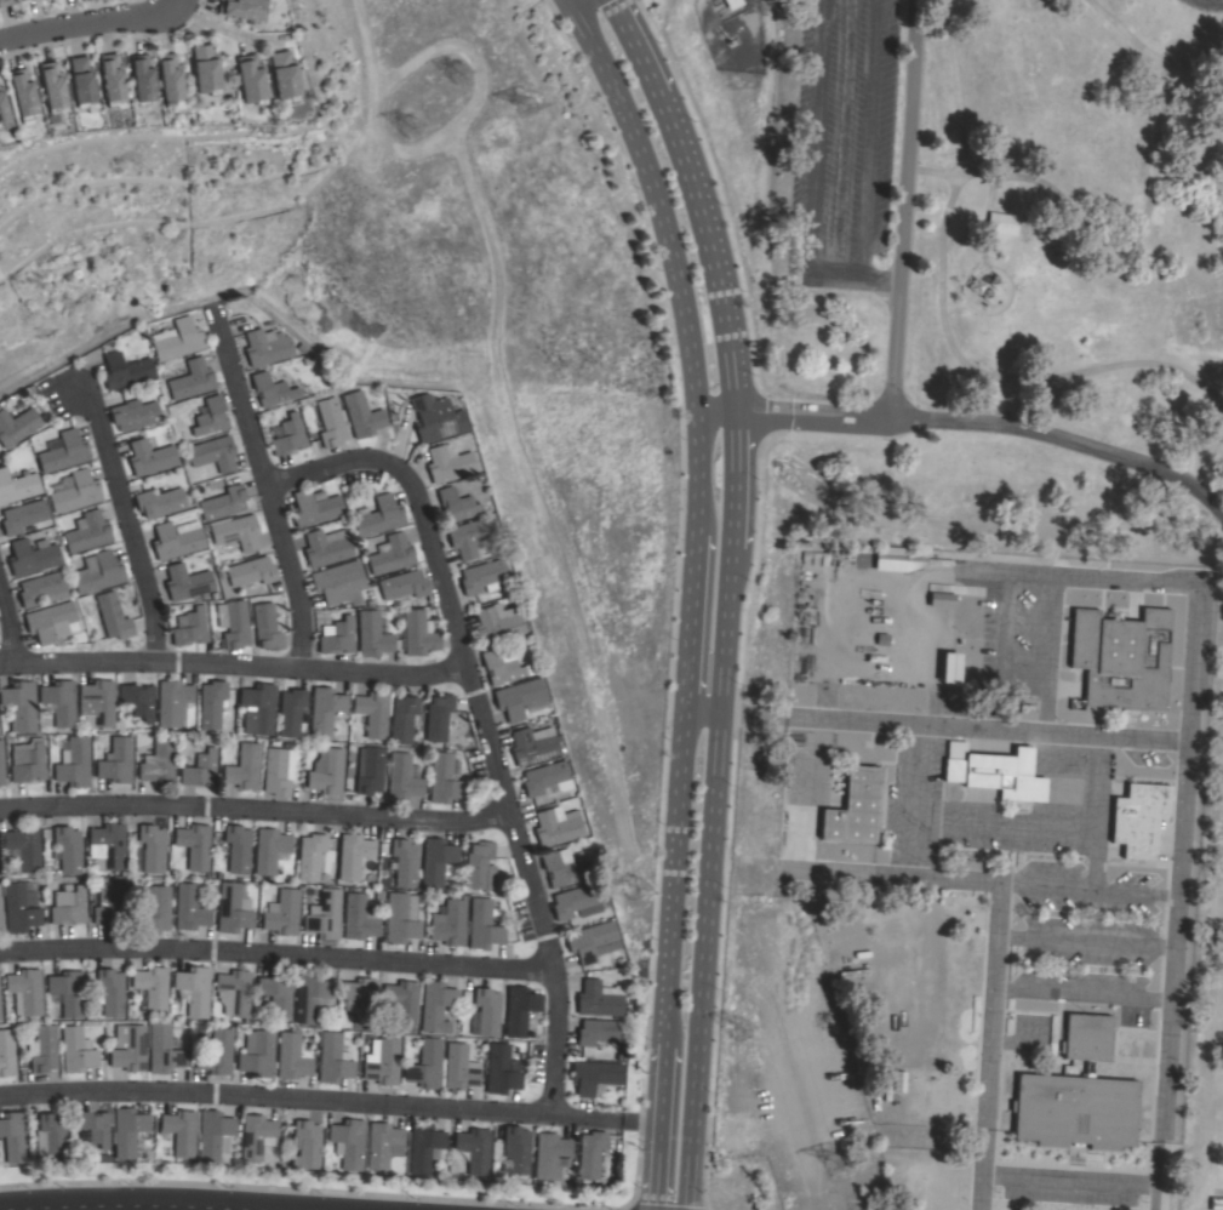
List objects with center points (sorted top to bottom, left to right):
building: (6, 2)
building: (733, 2)
parking lot: (1205, 4)
building: (245, 8)
road: (85, 23)
road: (223, 28)
road: (1184, 67)
building: (207, 69)
power tower: (456, 74)
building: (285, 75)
building: (144, 79)
building: (252, 79)
building: (113, 80)
building: (172, 80)
building: (82, 81)
building: (53, 86)
road: (1190, 92)
building: (24, 95)
building: (2, 107)
power tower: (527, 109)
power tower: (407, 130)
road: (817, 137)
road: (865, 139)
parking lot: (839, 141)
road: (1182, 169)
road: (951, 173)
road: (903, 210)
building: (1001, 222)
road: (1138, 230)
road: (855, 278)
park: (989, 307)
road: (942, 320)
building: (178, 338)
building: (267, 346)
building: (125, 370)
building: (190, 377)
building: (273, 389)
building: (135, 413)
building: (362, 413)
building: (211, 416)
building: (436, 417)
road: (970, 421)
building: (330, 422)
building: (17, 424)
building: (290, 436)
building: (63, 451)
building: (213, 452)
building: (150, 456)
building: (448, 462)
road: (268, 485)
building: (17, 486)
building: (76, 492)
building: (160, 501)
building: (224, 502)
building: (457, 503)
building: (315, 507)
building: (23, 515)
building: (379, 515)
road: (128, 521)
building: (88, 531)
building: (238, 531)
building: (470, 535)
building: (177, 538)
building: (326, 546)
building: (392, 553)
building: (33, 555)
building: (903, 558)
building: (252, 570)
building: (98, 571)
road: (1005, 572)
building: (484, 575)
building: (336, 580)
building: (187, 581)
building: (404, 584)
building: (41, 588)
road: (693, 593)
road: (731, 594)
building: (941, 599)
building: (113, 616)
road: (11, 622)
building: (50, 622)
building: (233, 622)
building: (497, 623)
building: (190, 626)
building: (267, 626)
building: (418, 632)
building: (372, 634)
building: (337, 635)
building: (1063, 649)
building: (1121, 658)
building: (503, 664)
road: (235, 666)
building: (949, 666)
building: (521, 698)
building: (138, 700)
building: (59, 701)
building: (97, 702)
building: (172, 702)
building: (211, 703)
building: (19, 704)
building: (258, 708)
building: (325, 710)
building: (291, 712)
building: (373, 712)
road: (704, 712)
building: (438, 715)
building: (404, 718)
road: (486, 720)
road: (955, 727)
building: (532, 747)
road: (1187, 749)
building: (27, 760)
building: (116, 760)
building: (74, 763)
building: (158, 764)
building: (1, 766)
building: (244, 766)
building: (200, 769)
building: (279, 770)
building: (370, 770)
building: (327, 771)
building: (994, 771)
building: (404, 776)
building: (547, 777)
building: (444, 778)
road: (913, 800)
building: (853, 807)
road: (257, 809)
building: (1138, 817)
building: (556, 824)
building: (194, 844)
building: (107, 845)
building: (24, 846)
building: (152, 847)
building: (238, 847)
building: (68, 849)
building: (269, 849)
building: (354, 855)
building: (310, 856)
building: (406, 861)
building: (438, 861)
building: (480, 864)
building: (560, 867)
power tower: (633, 886)
road: (1085, 891)
building: (577, 901)
building: (68, 904)
building: (112, 904)
building: (21, 906)
building: (189, 907)
building: (233, 908)
building: (153, 909)
building: (282, 912)
building: (324, 913)
building: (359, 917)
building: (401, 918)
building: (450, 923)
building: (484, 924)
building: (0, 925)
road: (995, 940)
building: (593, 941)
road: (1085, 943)
road: (279, 954)
building: (152, 986)
building: (193, 989)
building: (24, 991)
building: (67, 991)
building: (108, 992)
building: (275, 992)
building: (234, 993)
building: (310, 995)
building: (361, 998)
building: (599, 998)
building: (402, 1001)
building: (435, 1005)
building: (487, 1010)
building: (520, 1010)
building: (600, 1031)
power tower: (742, 1035)
building: (42, 1048)
building: (128, 1048)
building: (78, 1049)
building: (162, 1049)
building: (6, 1052)
building: (217, 1052)
building: (257, 1052)
building: (292, 1055)
building: (332, 1058)
building: (384, 1062)
building: (425, 1063)
building: (459, 1066)
building: (501, 1068)
building: (594, 1074)
building: (1076, 1095)
road: (330, 1101)
building: (93, 1125)
building: (127, 1130)
building: (181, 1130)
building: (213, 1134)
building: (257, 1135)
building: (12, 1136)
building: (53, 1136)
building: (307, 1142)
building: (348, 1142)
building: (383, 1143)
building: (423, 1147)
building: (474, 1148)
building: (516, 1148)
building: (549, 1153)
building: (590, 1153)
power tower: (834, 1160)
road: (1068, 1180)
building: (1216, 1203)
road: (128, 1204)

